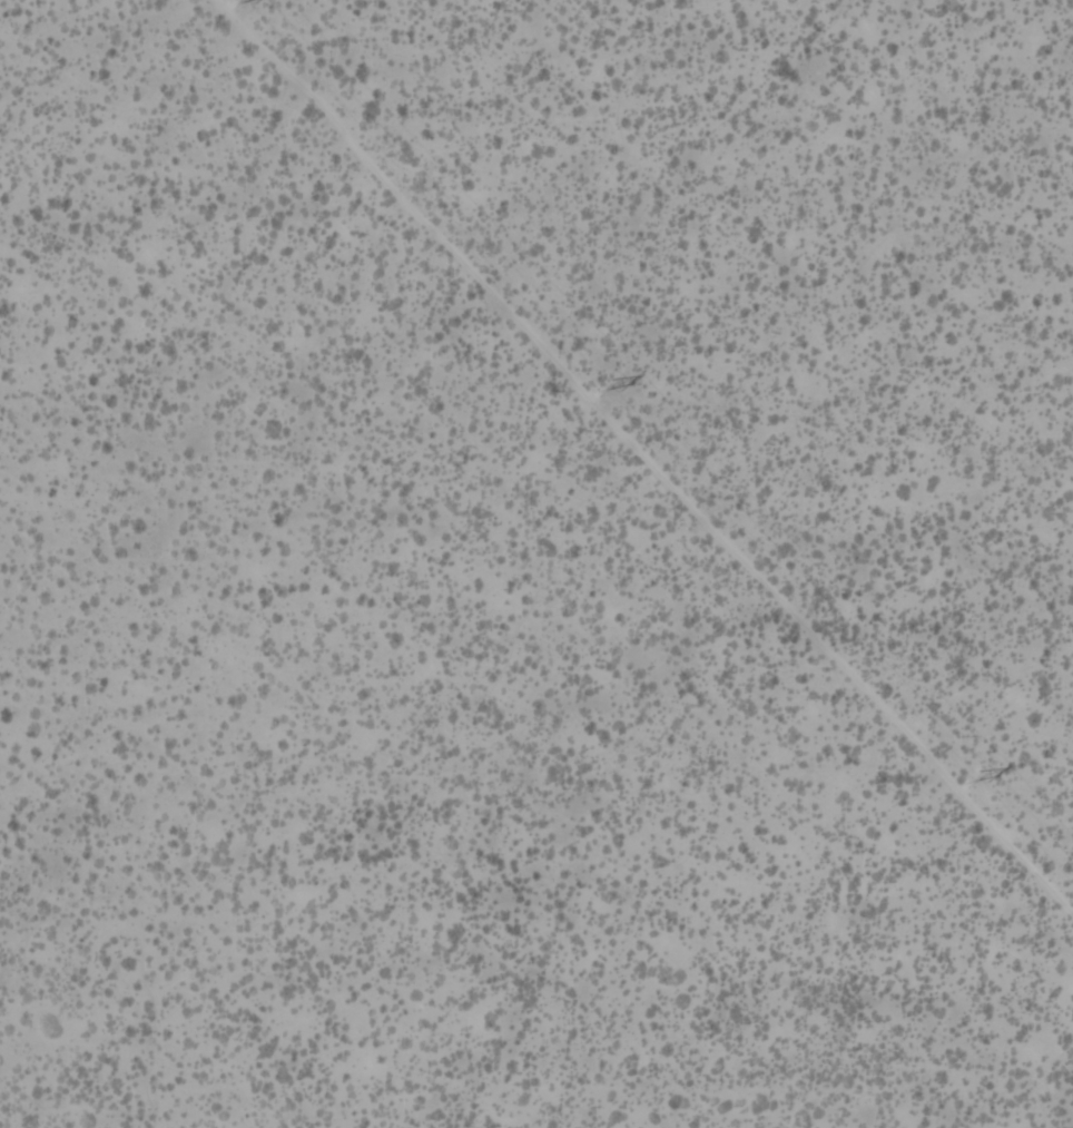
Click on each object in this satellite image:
power tower: (603, 383)
road: (646, 454)
power tower: (969, 774)

